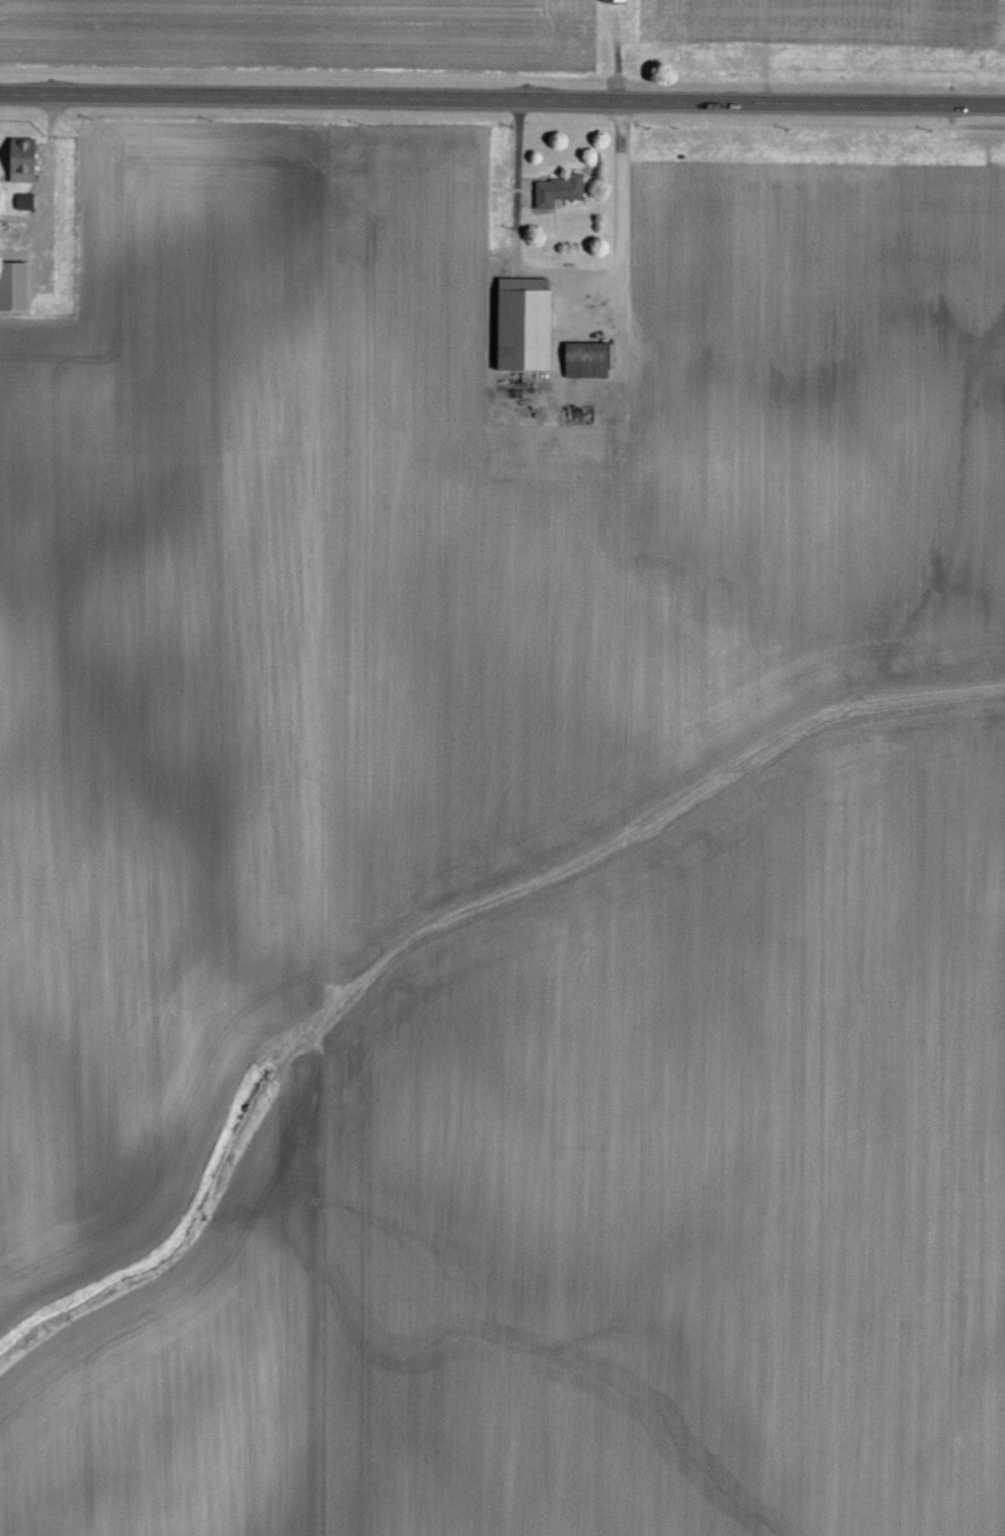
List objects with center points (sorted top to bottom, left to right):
building: (611, 1)
road: (502, 100)
building: (16, 158)
road: (47, 175)
building: (555, 190)
building: (22, 202)
road: (572, 274)
building: (11, 287)
building: (519, 325)
building: (585, 360)

